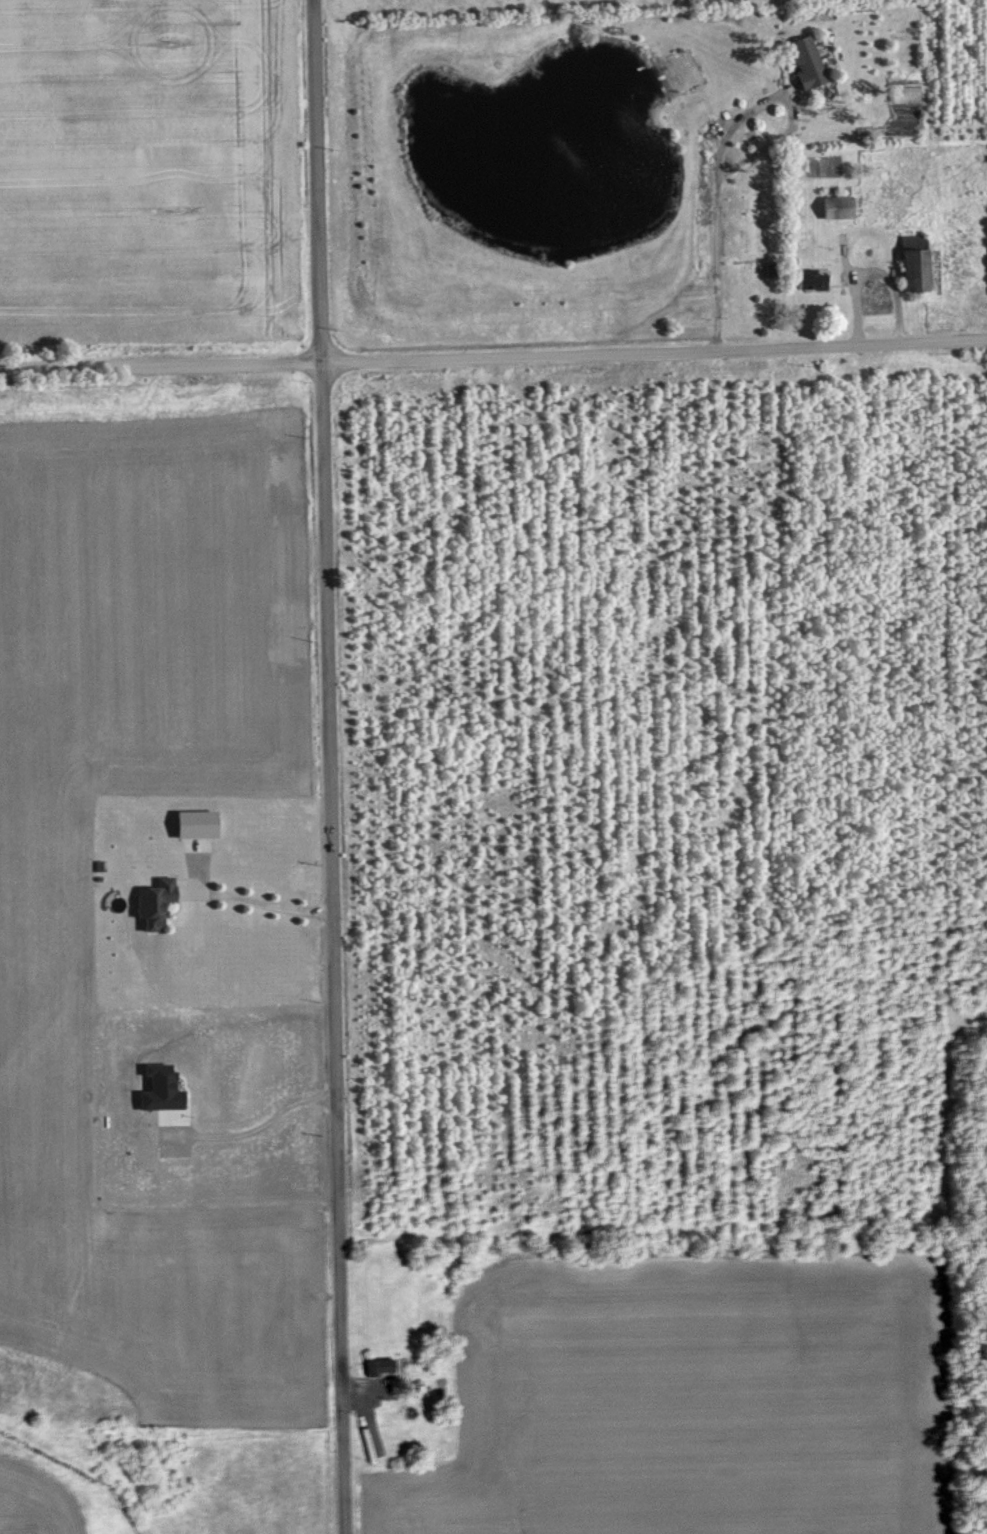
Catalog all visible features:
building: (807, 60)
building: (838, 205)
road: (716, 234)
building: (812, 277)
road: (493, 355)
road: (329, 766)
building: (196, 822)
building: (155, 901)
road: (262, 901)
building: (161, 1087)
road: (257, 1128)
building: (380, 1363)

